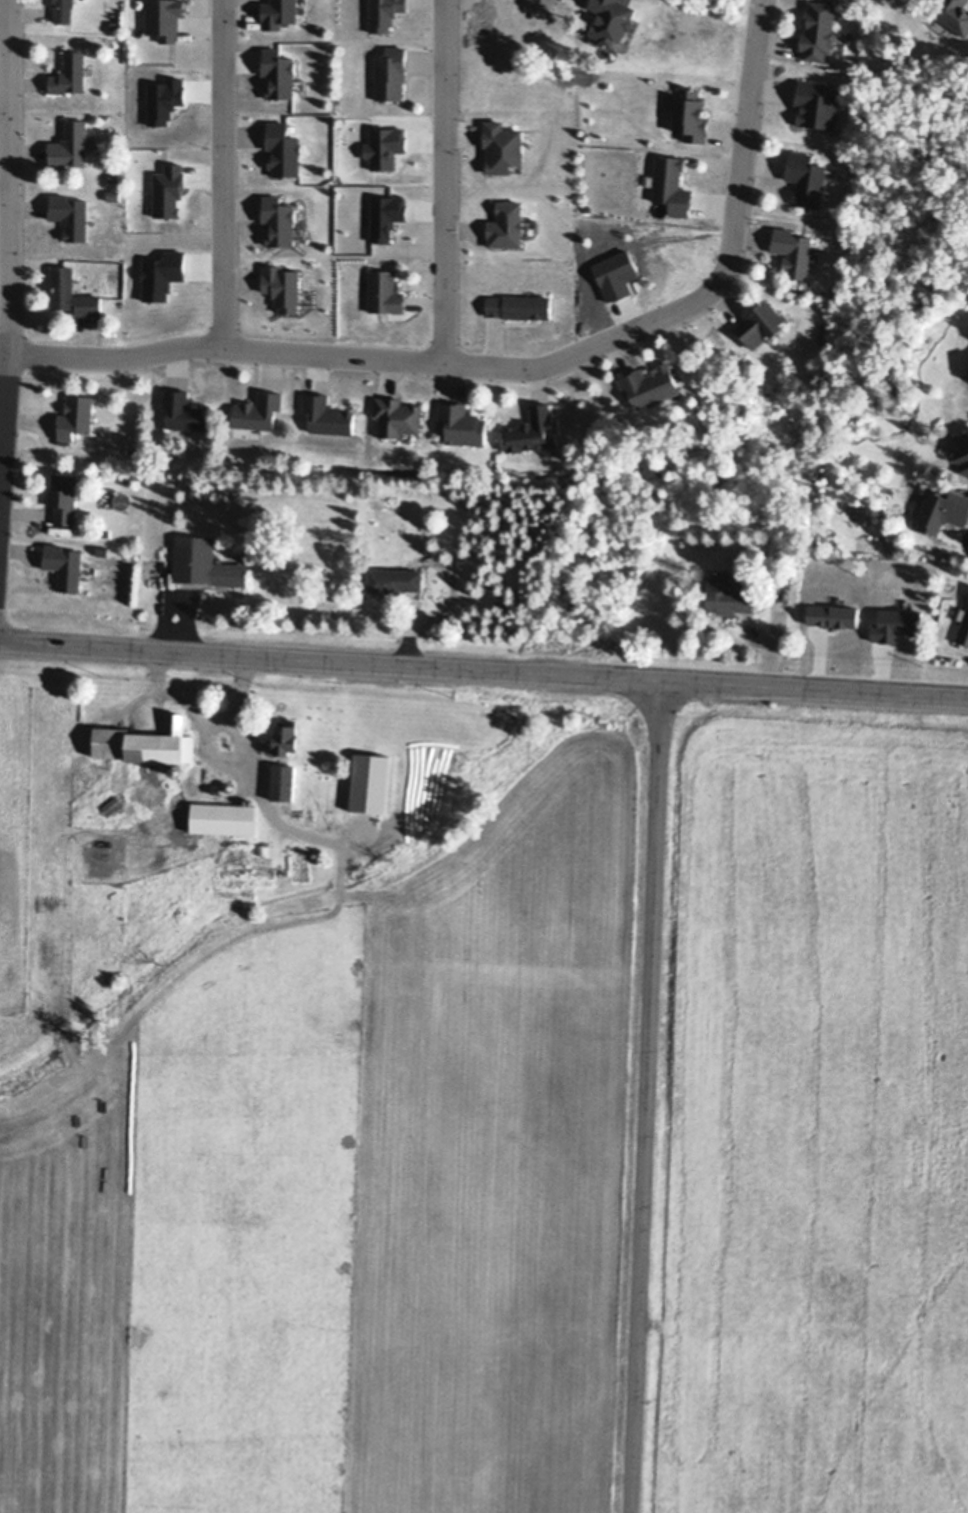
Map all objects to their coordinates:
building: (64, 9)
building: (954, 14)
building: (611, 17)
building: (115, 23)
building: (818, 28)
building: (71, 70)
building: (390, 71)
building: (815, 103)
building: (691, 113)
building: (71, 142)
building: (502, 144)
building: (283, 147)
building: (115, 173)
road: (224, 173)
building: (805, 176)
road: (445, 181)
building: (671, 183)
building: (114, 193)
building: (71, 213)
building: (792, 249)
road: (11, 250)
road: (714, 284)
building: (385, 290)
building: (71, 291)
building: (519, 304)
building: (760, 320)
road: (221, 345)
building: (650, 383)
building: (184, 409)
building: (258, 409)
building: (327, 413)
building: (397, 414)
building: (75, 415)
building: (462, 422)
building: (532, 428)
building: (963, 452)
building: (63, 496)
building: (942, 509)
building: (105, 533)
road: (965, 542)
building: (102, 549)
building: (205, 562)
building: (64, 564)
building: (393, 578)
building: (779, 585)
building: (727, 593)
building: (963, 627)
road: (483, 670)
road: (203, 714)
building: (286, 735)
building: (147, 740)
building: (279, 768)
building: (180, 771)
building: (370, 781)
building: (229, 786)
building: (285, 787)
building: (280, 801)
building: (223, 816)
building: (315, 850)
road: (647, 1096)
crop: (815, 1117)

